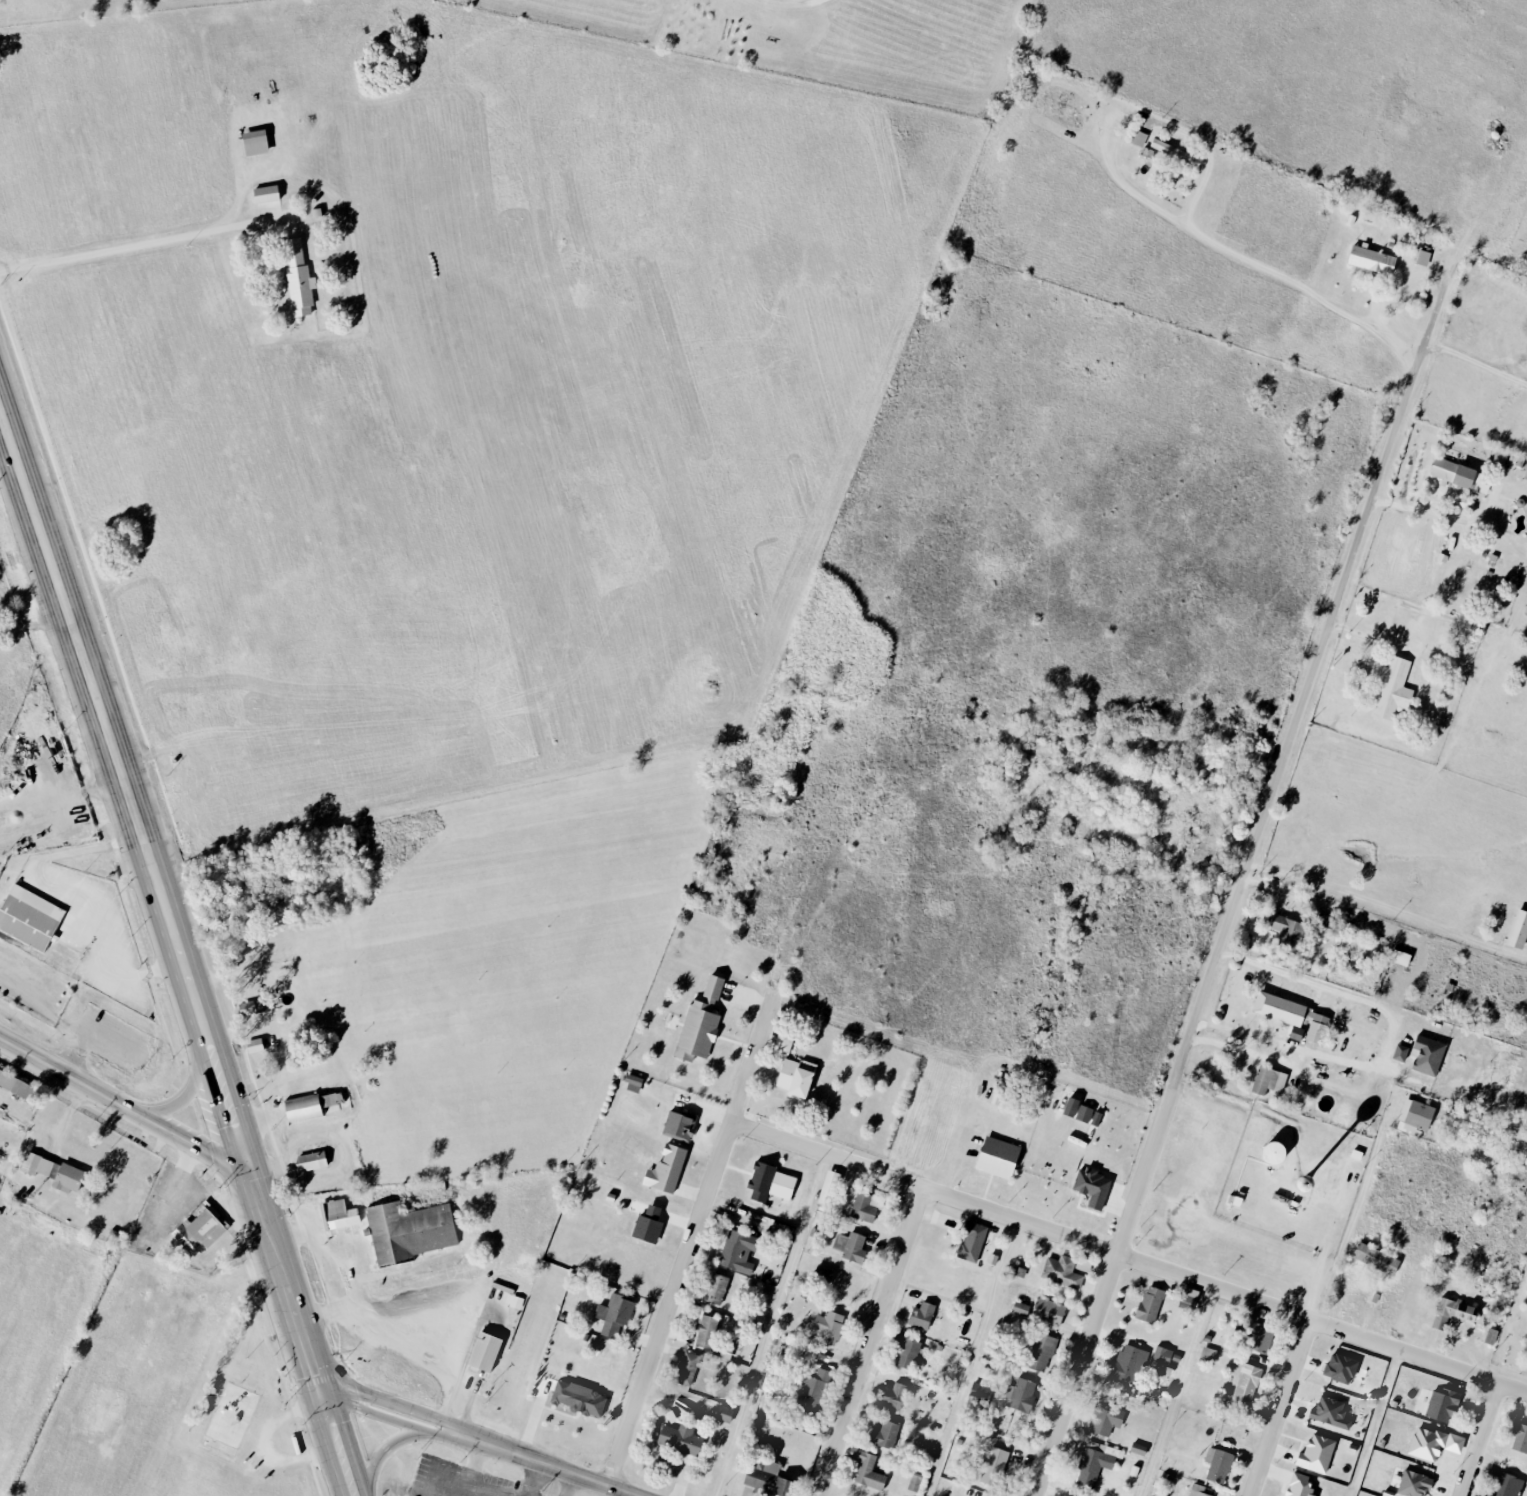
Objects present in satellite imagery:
road: (780, 2)
building: (1138, 139)
building: (255, 143)
building: (1172, 151)
building: (265, 195)
road: (1156, 208)
road: (127, 243)
building: (1422, 258)
building: (1371, 260)
building: (298, 278)
road: (1476, 359)
building: (1457, 473)
road: (1442, 516)
road: (35, 622)
building: (1393, 690)
road: (122, 780)
road: (60, 792)
road: (1238, 885)
road: (1371, 898)
building: (29, 912)
building: (1518, 930)
building: (1287, 933)
building: (1400, 958)
road: (1327, 987)
building: (251, 1003)
building: (1293, 1016)
building: (700, 1022)
building: (1296, 1034)
road: (1289, 1041)
building: (254, 1047)
building: (1400, 1053)
building: (1427, 1056)
building: (795, 1078)
road: (182, 1081)
building: (1268, 1081)
building: (633, 1083)
building: (16, 1086)
road: (125, 1104)
building: (313, 1106)
building: (1070, 1106)
building: (1083, 1113)
building: (1419, 1116)
building: (678, 1125)
building: (997, 1157)
building: (311, 1161)
building: (666, 1169)
building: (54, 1173)
building: (769, 1182)
building: (1092, 1186)
building: (828, 1187)
road: (1357, 1194)
building: (863, 1208)
building: (340, 1214)
building: (648, 1224)
building: (201, 1230)
building: (409, 1230)
road: (693, 1238)
building: (971, 1241)
building: (851, 1246)
building: (738, 1251)
road: (1130, 1258)
building: (1375, 1258)
building: (1062, 1271)
building: (823, 1274)
road: (287, 1279)
building: (715, 1289)
building: (1187, 1298)
building: (1150, 1304)
building: (1020, 1308)
building: (1048, 1311)
building: (1452, 1313)
building: (921, 1315)
building: (614, 1316)
building: (828, 1326)
building: (707, 1331)
building: (1259, 1335)
road: (869, 1342)
building: (484, 1351)
building: (908, 1352)
building: (1040, 1352)
building: (1208, 1355)
road: (972, 1358)
building: (1164, 1359)
building: (1129, 1363)
building: (687, 1368)
building: (1340, 1368)
building: (1246, 1384)
building: (813, 1390)
building: (981, 1392)
road: (1179, 1392)
building: (1020, 1395)
building: (894, 1396)
building: (578, 1398)
building: (1442, 1405)
road: (1283, 1409)
building: (1330, 1413)
building: (724, 1414)
building: (1105, 1415)
building: (884, 1434)
building: (680, 1438)
building: (1520, 1439)
road: (479, 1441)
road: (1481, 1441)
road: (340, 1442)
building: (1433, 1443)
road: (393, 1448)
building: (1138, 1448)
building: (1316, 1454)
building: (1095, 1463)
building: (1218, 1465)
building: (994, 1466)
road: (470, 1469)
building: (867, 1469)
building: (766, 1478)
road: (535, 1480)
building: (915, 1482)
building: (1414, 1484)
building: (1299, 1485)
building: (1507, 1485)
building: (1198, 1490)
road: (479, 1491)
building: (1071, 1495)

